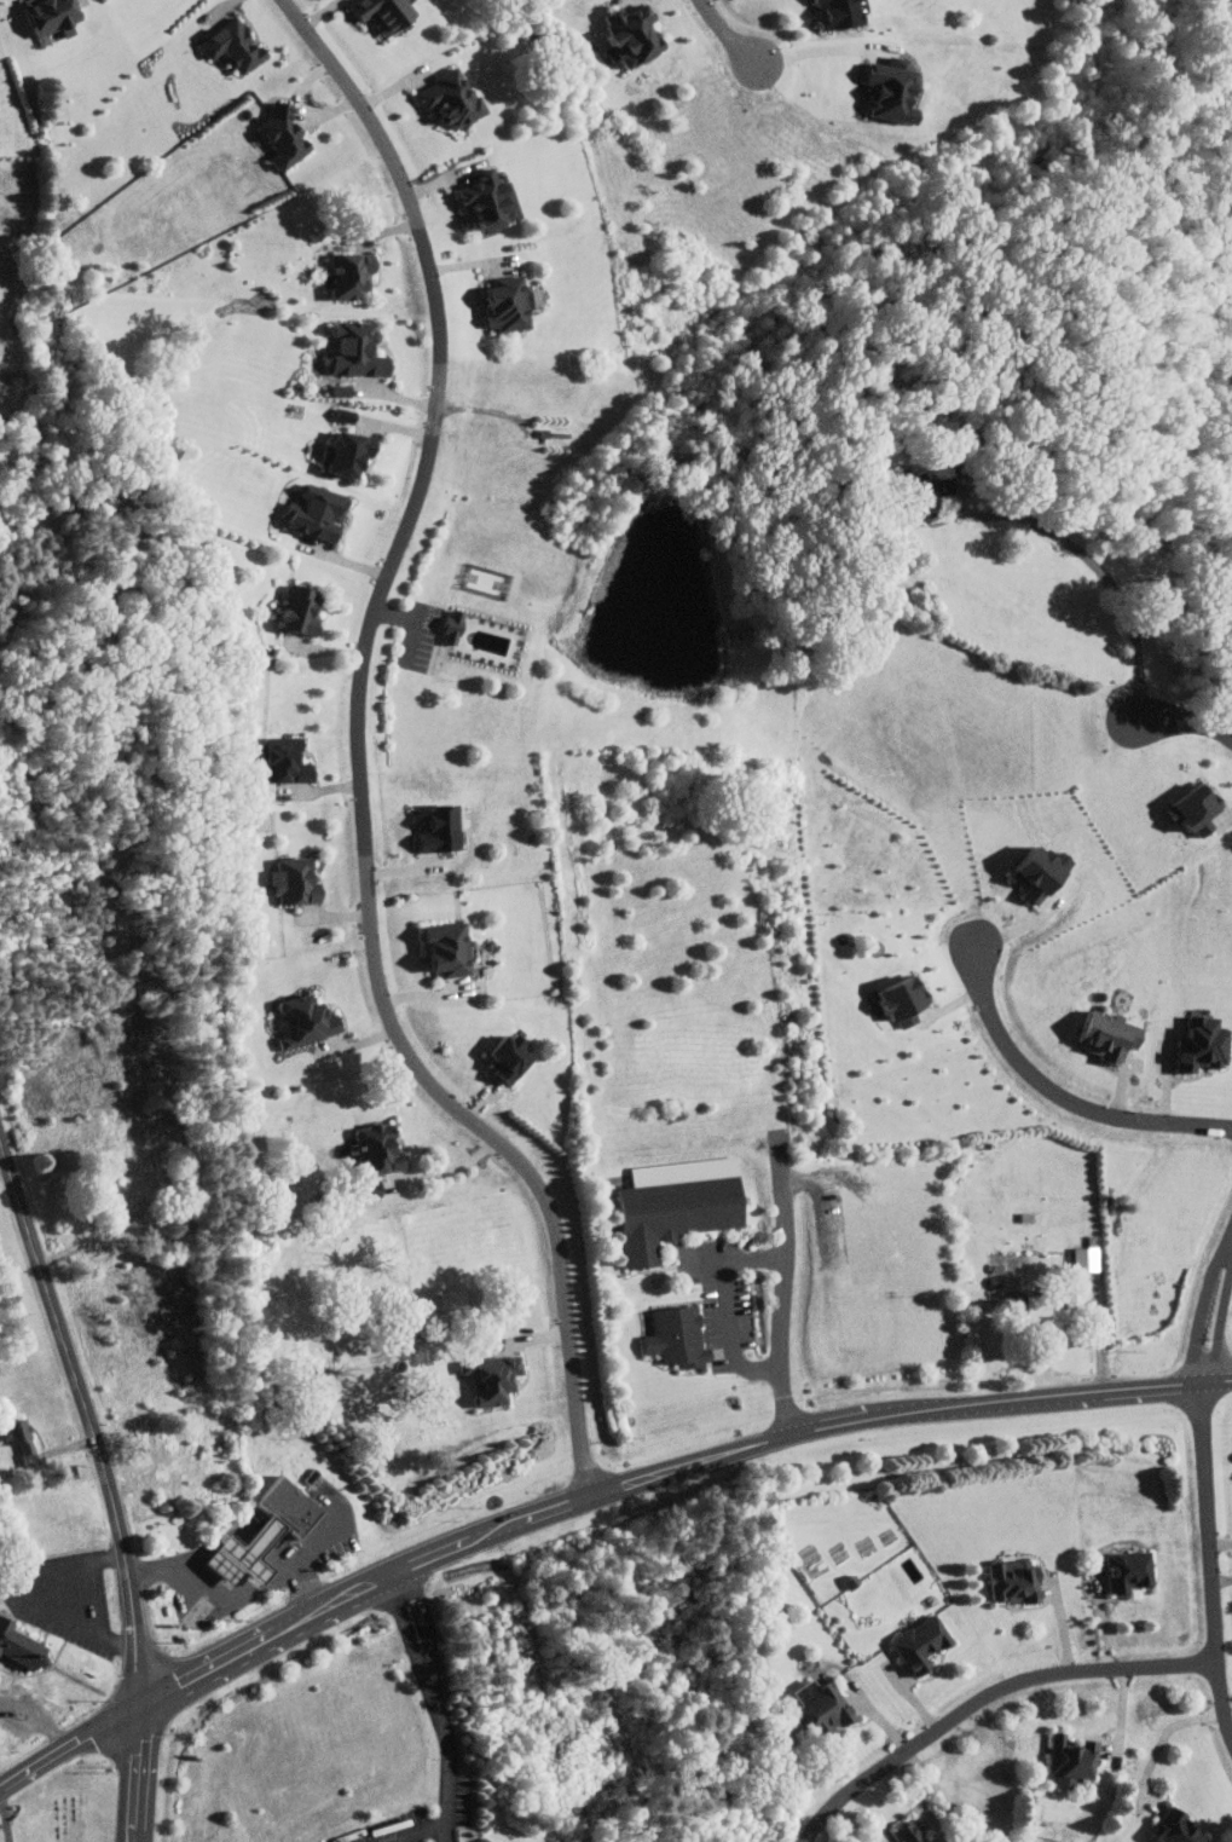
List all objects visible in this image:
building: (846, 13)
building: (388, 15)
building: (57, 17)
road: (729, 31)
building: (640, 35)
building: (237, 45)
road: (822, 51)
building: (897, 94)
building: (455, 97)
building: (287, 133)
building: (496, 201)
building: (357, 275)
building: (511, 304)
building: (360, 350)
building: (346, 391)
building: (348, 415)
building: (352, 456)
building: (320, 513)
road: (1106, 578)
building: (302, 611)
building: (456, 626)
road: (1186, 721)
road: (359, 755)
building: (290, 763)
building: (1185, 807)
building: (443, 828)
building: (1023, 870)
building: (296, 879)
building: (451, 947)
building: (890, 994)
building: (901, 1017)
building: (311, 1020)
building: (1099, 1032)
building: (1193, 1044)
building: (516, 1056)
road: (1062, 1097)
building: (671, 1203)
building: (995, 1284)
building: (1035, 1305)
road: (785, 1306)
road: (727, 1310)
road: (1215, 1313)
road: (1098, 1334)
building: (670, 1335)
building: (497, 1378)
building: (22, 1436)
road: (760, 1444)
road: (108, 1484)
road: (238, 1528)
building: (271, 1532)
road: (319, 1546)
road: (1208, 1558)
building: (1122, 1571)
building: (1008, 1582)
road: (227, 1595)
building: (22, 1642)
building: (914, 1644)
road: (155, 1693)
road: (989, 1700)
road: (436, 1704)
building: (812, 1708)
road: (37, 1720)
road: (1120, 1726)
road: (1166, 1736)
building: (1066, 1757)
building: (1168, 1830)
road: (413, 1831)
building: (900, 1832)
road: (397, 1840)

